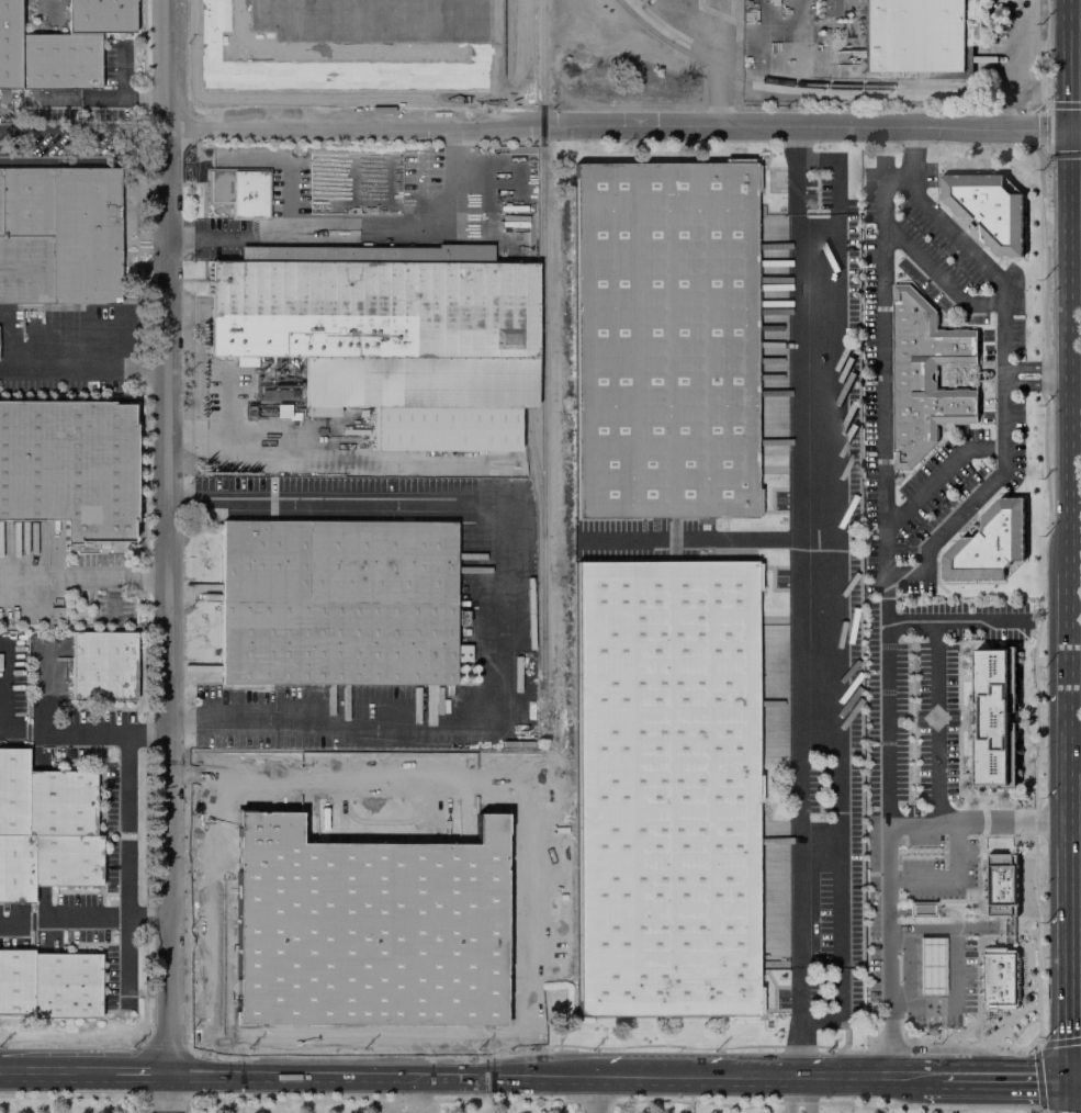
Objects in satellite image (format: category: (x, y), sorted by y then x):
road: (41, 9)
building: (919, 38)
building: (58, 45)
building: (345, 45)
road: (716, 63)
road: (1005, 64)
road: (1066, 64)
railway: (786, 85)
road: (613, 125)
road: (144, 128)
traffic signals: (1067, 128)
road: (1073, 128)
road: (125, 142)
road: (905, 151)
road: (834, 189)
building: (239, 191)
building: (988, 210)
building: (58, 236)
road: (362, 236)
road: (937, 277)
railway: (544, 340)
building: (663, 340)
building: (390, 341)
road: (1067, 351)
building: (245, 361)
road: (883, 362)
road: (82, 370)
road: (1035, 375)
building: (924, 378)
building: (281, 411)
road: (815, 423)
road: (235, 435)
railway: (537, 460)
building: (68, 466)
road: (938, 475)
road: (167, 538)
road: (698, 539)
building: (989, 546)
road: (82, 574)
building: (338, 604)
road: (498, 618)
road: (956, 622)
road: (1066, 637)
building: (460, 653)
building: (101, 665)
building: (993, 717)
road: (936, 724)
road: (83, 733)
road: (1066, 738)
road: (808, 740)
road: (510, 767)
building: (665, 788)
building: (14, 790)
building: (61, 802)
road: (977, 825)
road: (202, 837)
road: (819, 847)
building: (68, 862)
building: (16, 869)
road: (947, 880)
building: (1005, 885)
building: (920, 909)
building: (365, 915)
road: (83, 920)
road: (1067, 929)
building: (930, 965)
road: (951, 967)
building: (999, 977)
building: (16, 982)
building: (67, 987)
road: (56, 1073)
road: (139, 1076)
road: (427, 1078)
road: (731, 1080)
road: (831, 1080)
road: (914, 1081)
road: (1004, 1081)
road: (1074, 1081)
traffic signals: (1068, 1082)
road: (168, 1094)
road: (590, 1095)
road: (787, 1097)
road: (807, 1097)
road: (1068, 1098)

